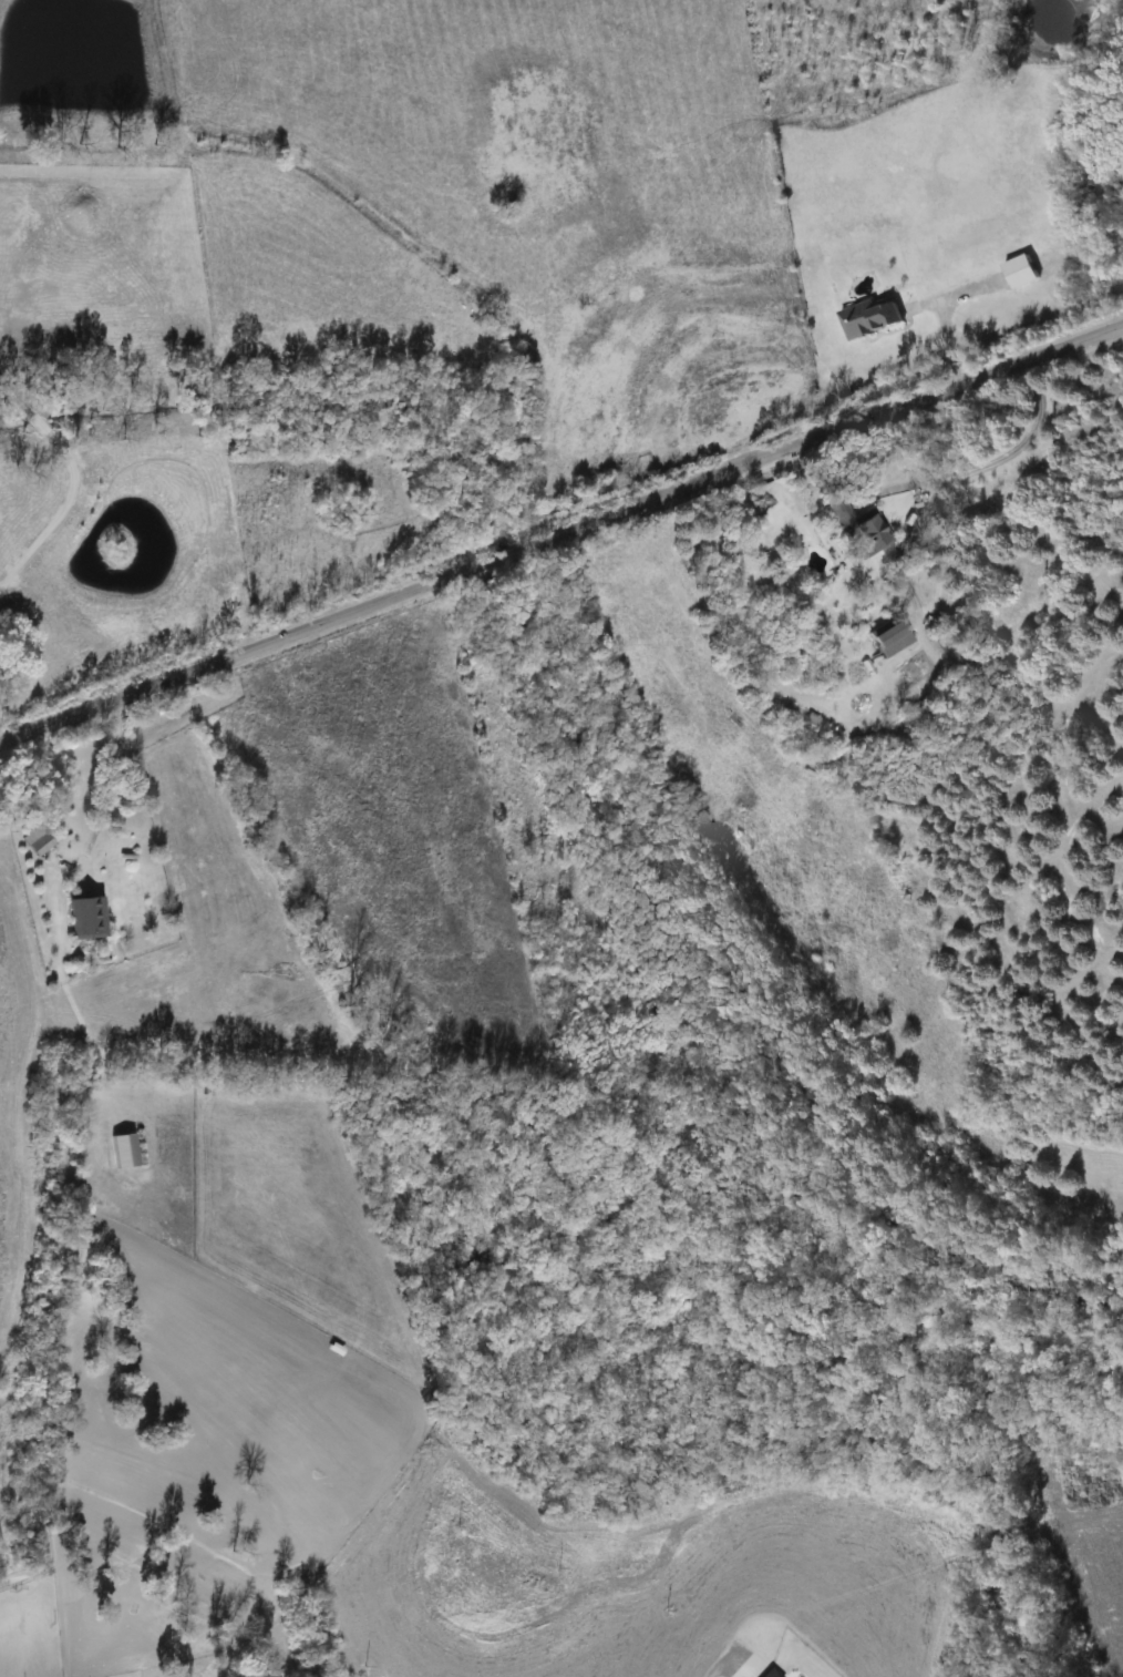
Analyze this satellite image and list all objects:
building: (1016, 272)
building: (866, 318)
road: (946, 333)
road: (988, 460)
road: (74, 479)
road: (561, 531)
building: (855, 531)
road: (898, 541)
building: (886, 641)
road: (115, 784)
building: (37, 843)
building: (81, 917)
building: (122, 1152)

